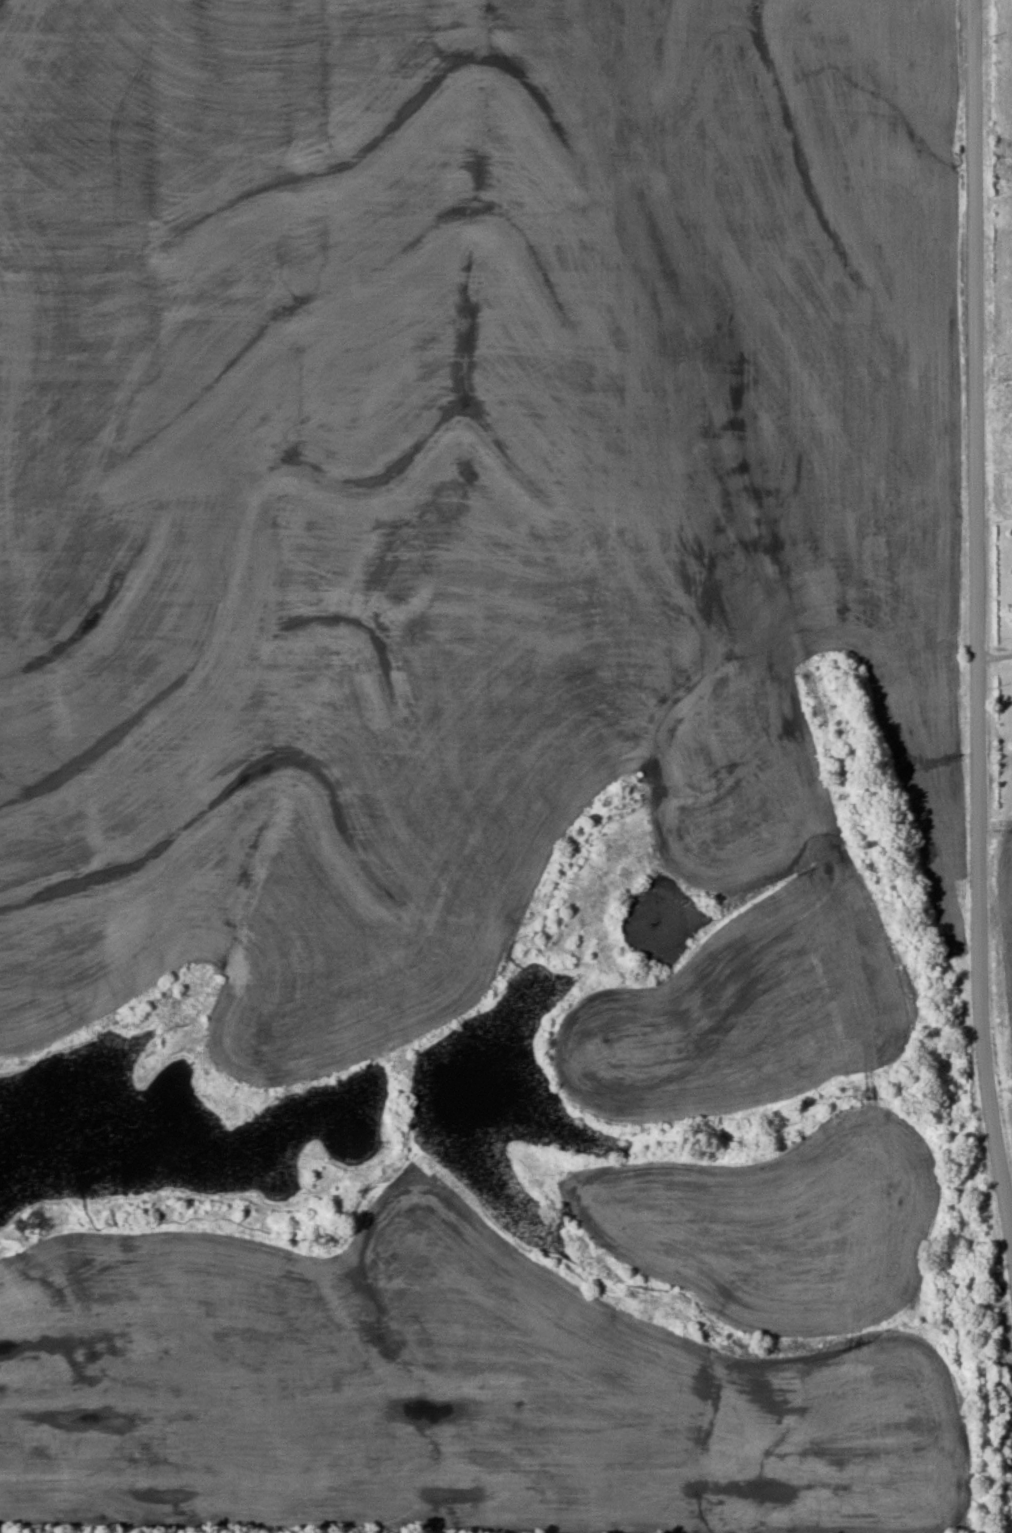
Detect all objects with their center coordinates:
road: (977, 617)
road: (994, 657)

